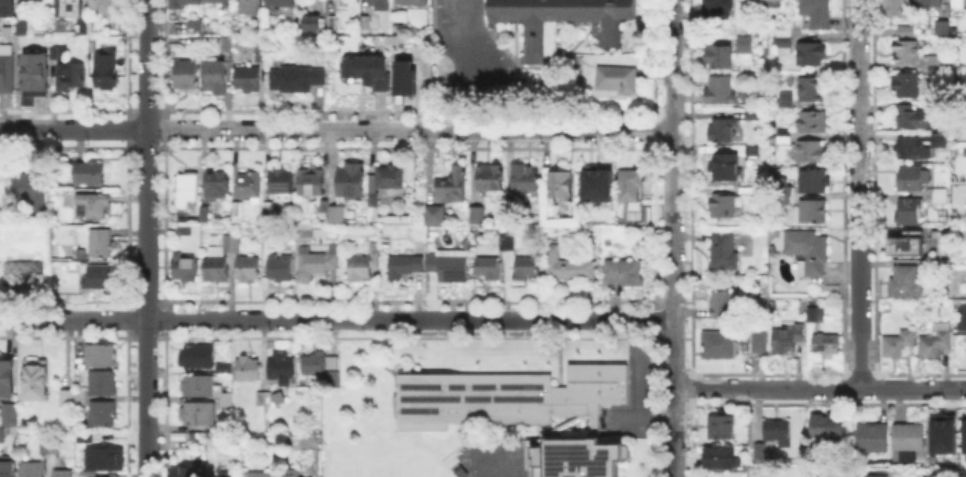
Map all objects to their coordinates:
building: (766, 0)
building: (36, 2)
building: (220, 2)
building: (281, 2)
building: (347, 2)
building: (414, 2)
building: (9, 3)
building: (188, 3)
building: (931, 3)
building: (958, 4)
building: (103, 5)
building: (380, 5)
building: (898, 7)
building: (70, 8)
building: (251, 8)
building: (717, 9)
building: (817, 13)
building: (561, 21)
building: (333, 23)
building: (372, 24)
building: (313, 25)
building: (399, 25)
building: (2, 26)
building: (21, 27)
building: (84, 27)
building: (197, 27)
building: (944, 30)
building: (62, 31)
building: (908, 33)
road: (473, 40)
building: (785, 43)
building: (227, 45)
building: (746, 46)
building: (61, 52)
building: (908, 53)
building: (262, 54)
building: (812, 54)
building: (721, 58)
building: (936, 67)
building: (106, 71)
building: (369, 72)
building: (7, 73)
building: (37, 73)
building: (202, 76)
building: (71, 77)
building: (248, 79)
building: (619, 79)
building: (294, 81)
building: (407, 83)
building: (907, 86)
building: (813, 90)
building: (722, 91)
building: (788, 101)
building: (917, 115)
building: (754, 117)
building: (815, 123)
road: (336, 129)
building: (725, 131)
building: (786, 138)
building: (937, 139)
building: (945, 140)
building: (915, 146)
building: (813, 152)
building: (727, 168)
building: (91, 173)
building: (492, 178)
building: (348, 179)
building: (308, 180)
building: (911, 180)
building: (526, 181)
building: (385, 182)
building: (595, 182)
building: (558, 183)
building: (814, 183)
building: (454, 184)
building: (632, 185)
building: (218, 186)
building: (282, 186)
building: (251, 187)
building: (187, 190)
building: (34, 192)
building: (782, 192)
road: (674, 194)
road: (860, 194)
building: (941, 198)
building: (321, 205)
building: (94, 206)
building: (724, 206)
building: (269, 209)
building: (816, 212)
building: (911, 212)
building: (334, 213)
building: (206, 215)
building: (437, 216)
building: (478, 217)
building: (965, 236)
road: (146, 238)
building: (102, 243)
building: (508, 244)
building: (943, 244)
building: (910, 249)
building: (726, 253)
building: (809, 253)
building: (220, 261)
building: (317, 262)
building: (362, 264)
building: (940, 265)
building: (404, 266)
building: (184, 268)
building: (449, 268)
building: (490, 268)
building: (527, 268)
building: (281, 269)
building: (248, 270)
building: (573, 271)
building: (26, 274)
building: (625, 274)
building: (103, 277)
building: (907, 283)
building: (722, 305)
building: (816, 315)
road: (336, 318)
building: (965, 319)
building: (788, 339)
building: (935, 342)
building: (827, 344)
building: (899, 345)
building: (720, 346)
building: (760, 346)
building: (101, 356)
building: (198, 357)
building: (312, 362)
building: (249, 370)
building: (282, 370)
building: (329, 376)
building: (7, 379)
building: (36, 379)
building: (102, 384)
building: (200, 386)
road: (631, 386)
road: (767, 389)
road: (913, 389)
building: (79, 398)
building: (66, 399)
building: (263, 399)
building: (227, 402)
building: (521, 409)
building: (104, 413)
building: (199, 415)
building: (11, 416)
building: (821, 426)
building: (723, 428)
road: (675, 432)
building: (780, 433)
building: (941, 433)
building: (963, 433)
building: (2, 435)
building: (874, 438)
building: (910, 441)
building: (49, 448)
building: (761, 453)
building: (721, 458)
building: (106, 460)
road: (495, 461)
building: (34, 470)
building: (184, 471)
building: (288, 472)
building: (8, 473)
building: (962, 473)
building: (63, 474)
building: (224, 475)
building: (260, 475)
building: (886, 475)
building: (308, 476)
building: (919, 476)

